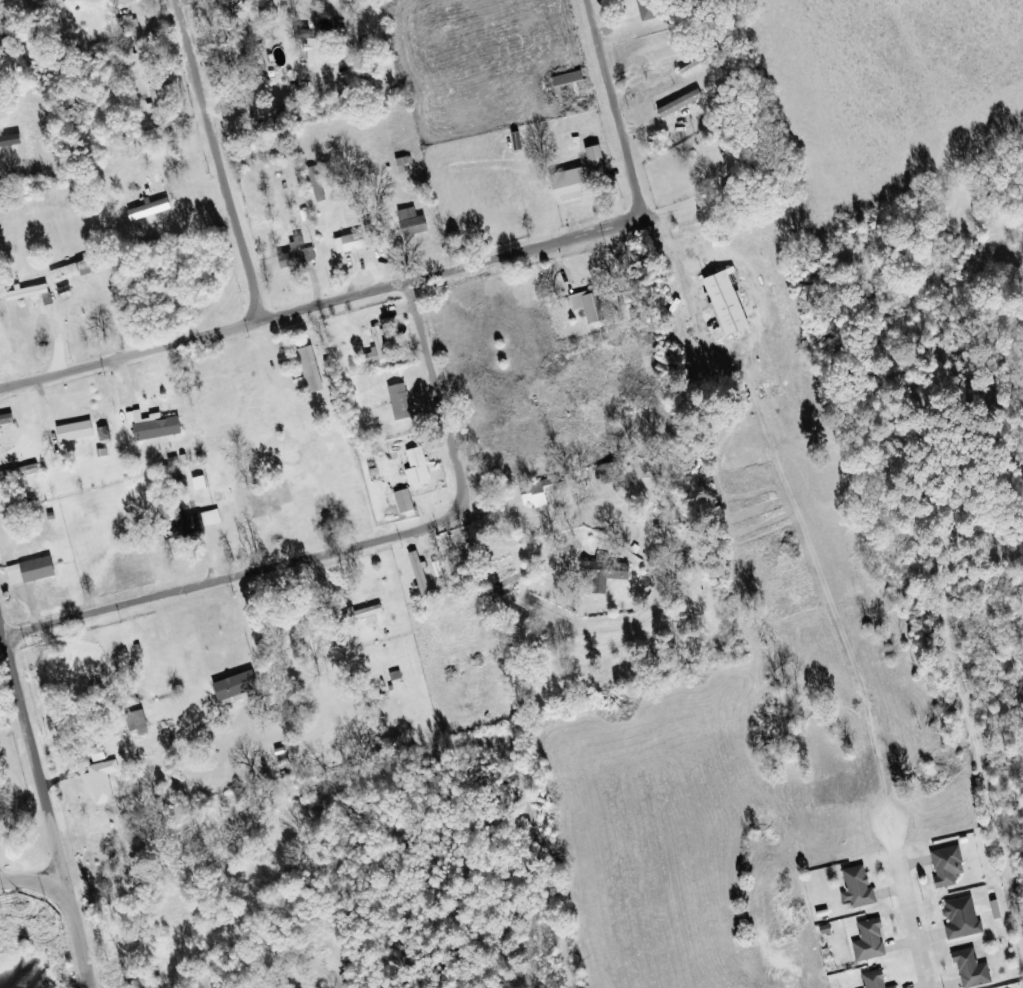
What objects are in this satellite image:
building: (651, 10)
building: (314, 47)
building: (694, 67)
building: (155, 94)
building: (678, 103)
road: (587, 146)
building: (593, 164)
road: (107, 177)
building: (565, 184)
building: (151, 210)
building: (413, 221)
building: (353, 243)
building: (295, 254)
building: (76, 269)
building: (29, 293)
building: (722, 303)
building: (589, 305)
road: (321, 307)
building: (376, 354)
building: (310, 372)
road: (436, 383)
building: (402, 401)
building: (155, 426)
building: (78, 431)
building: (419, 467)
building: (646, 468)
building: (19, 473)
building: (611, 473)
building: (405, 502)
building: (193, 524)
building: (33, 571)
road: (245, 573)
building: (606, 573)
building: (421, 574)
building: (362, 615)
building: (238, 685)
building: (138, 720)
building: (99, 754)
building: (102, 781)
road: (46, 811)
building: (948, 866)
road: (149, 868)
road: (30, 880)
building: (860, 887)
road: (909, 907)
building: (963, 918)
building: (871, 941)
building: (973, 970)
building: (876, 979)
building: (896, 987)

